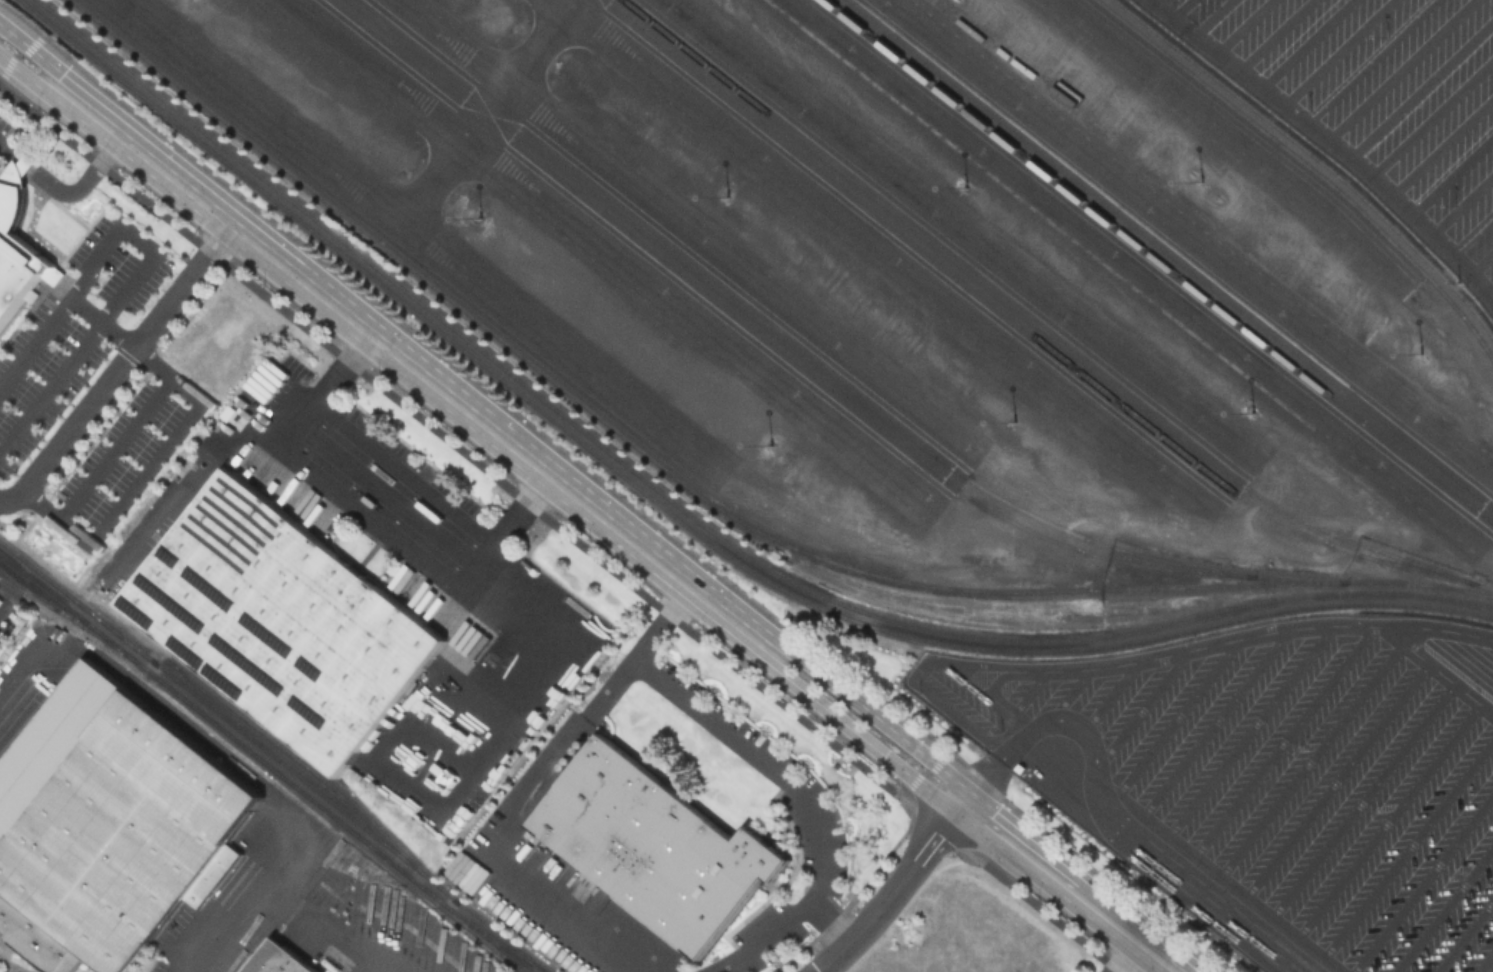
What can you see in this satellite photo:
road: (1180, 7)
road: (1211, 16)
road: (1243, 25)
road: (1273, 33)
road: (1305, 42)
road: (1336, 51)
road: (38, 54)
road: (11, 60)
road: (1368, 60)
road: (1398, 68)
road: (30, 80)
road: (1421, 87)
road: (1431, 115)
road: (1331, 141)
road: (1441, 144)
railway: (1313, 158)
railway: (1308, 167)
road: (1451, 172)
road: (65, 192)
road: (1461, 201)
road: (172, 224)
road: (1472, 232)
road: (136, 239)
building: (18, 248)
railway: (1166, 256)
road: (1481, 259)
railway: (1158, 262)
road: (1491, 293)
road: (60, 309)
railway: (1021, 325)
railway: (1040, 326)
railway: (767, 340)
road: (359, 347)
railway: (815, 363)
road: (119, 366)
road: (418, 371)
road: (51, 387)
road: (318, 397)
road: (438, 432)
road: (115, 447)
parking lot: (124, 454)
road: (145, 469)
road: (399, 482)
road: (539, 489)
road: (188, 490)
railway: (702, 500)
road: (380, 508)
railway: (690, 517)
railway: (681, 525)
road: (499, 542)
building: (285, 623)
railway: (79, 624)
road: (638, 651)
road: (1142, 657)
road: (1440, 669)
road: (998, 677)
road: (1030, 690)
road: (1068, 693)
road: (1112, 695)
road: (990, 697)
road: (1141, 708)
road: (875, 715)
road: (1064, 719)
road: (185, 720)
road: (1172, 720)
railway: (218, 728)
road: (1210, 729)
road: (859, 735)
road: (1246, 737)
road: (824, 738)
road: (1274, 745)
railway: (273, 758)
road: (1307, 763)
railway: (309, 765)
road: (917, 778)
road: (1334, 783)
road: (807, 802)
road: (1360, 802)
road: (1385, 821)
building: (122, 841)
building: (657, 849)
road: (1405, 850)
road: (495, 859)
road: (1423, 882)
road: (1070, 887)
road: (895, 889)
road: (275, 894)
road: (1232, 900)
road: (1444, 909)
road: (831, 922)
road: (1465, 935)
railway: (481, 936)
railway: (489, 936)
road: (1127, 955)
building: (279, 961)
road: (1485, 961)
road: (1115, 970)

